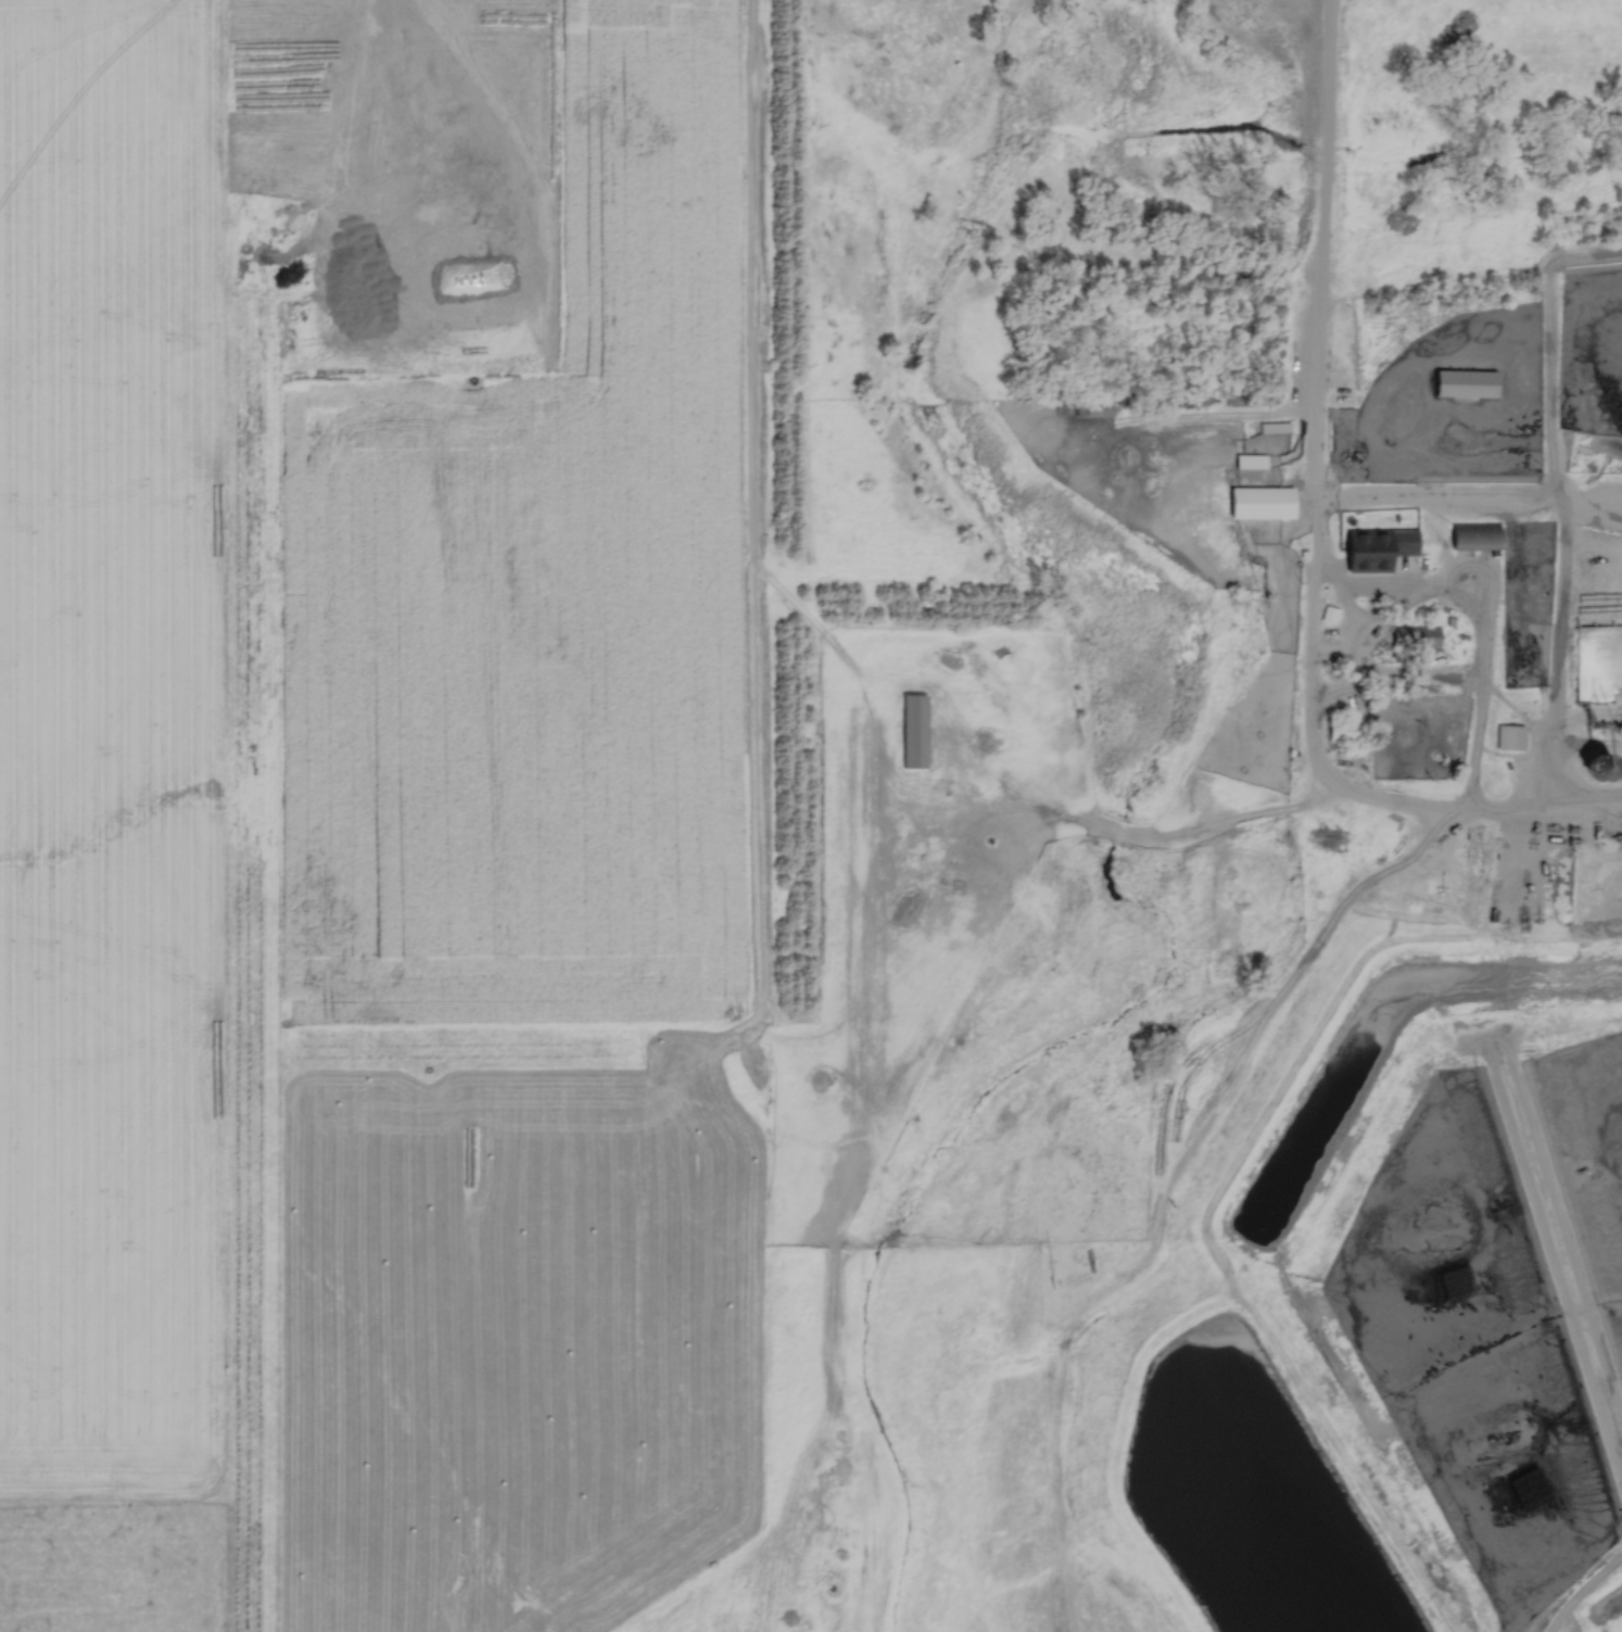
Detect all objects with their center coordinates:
road: (1322, 255)
building: (1466, 384)
building: (1344, 400)
building: (1093, 410)
building: (1245, 463)
building: (1255, 504)
building: (1473, 536)
building: (1376, 546)
building: (1414, 638)
building: (1340, 732)
building: (913, 733)
road: (1508, 779)
building: (1607, 857)

